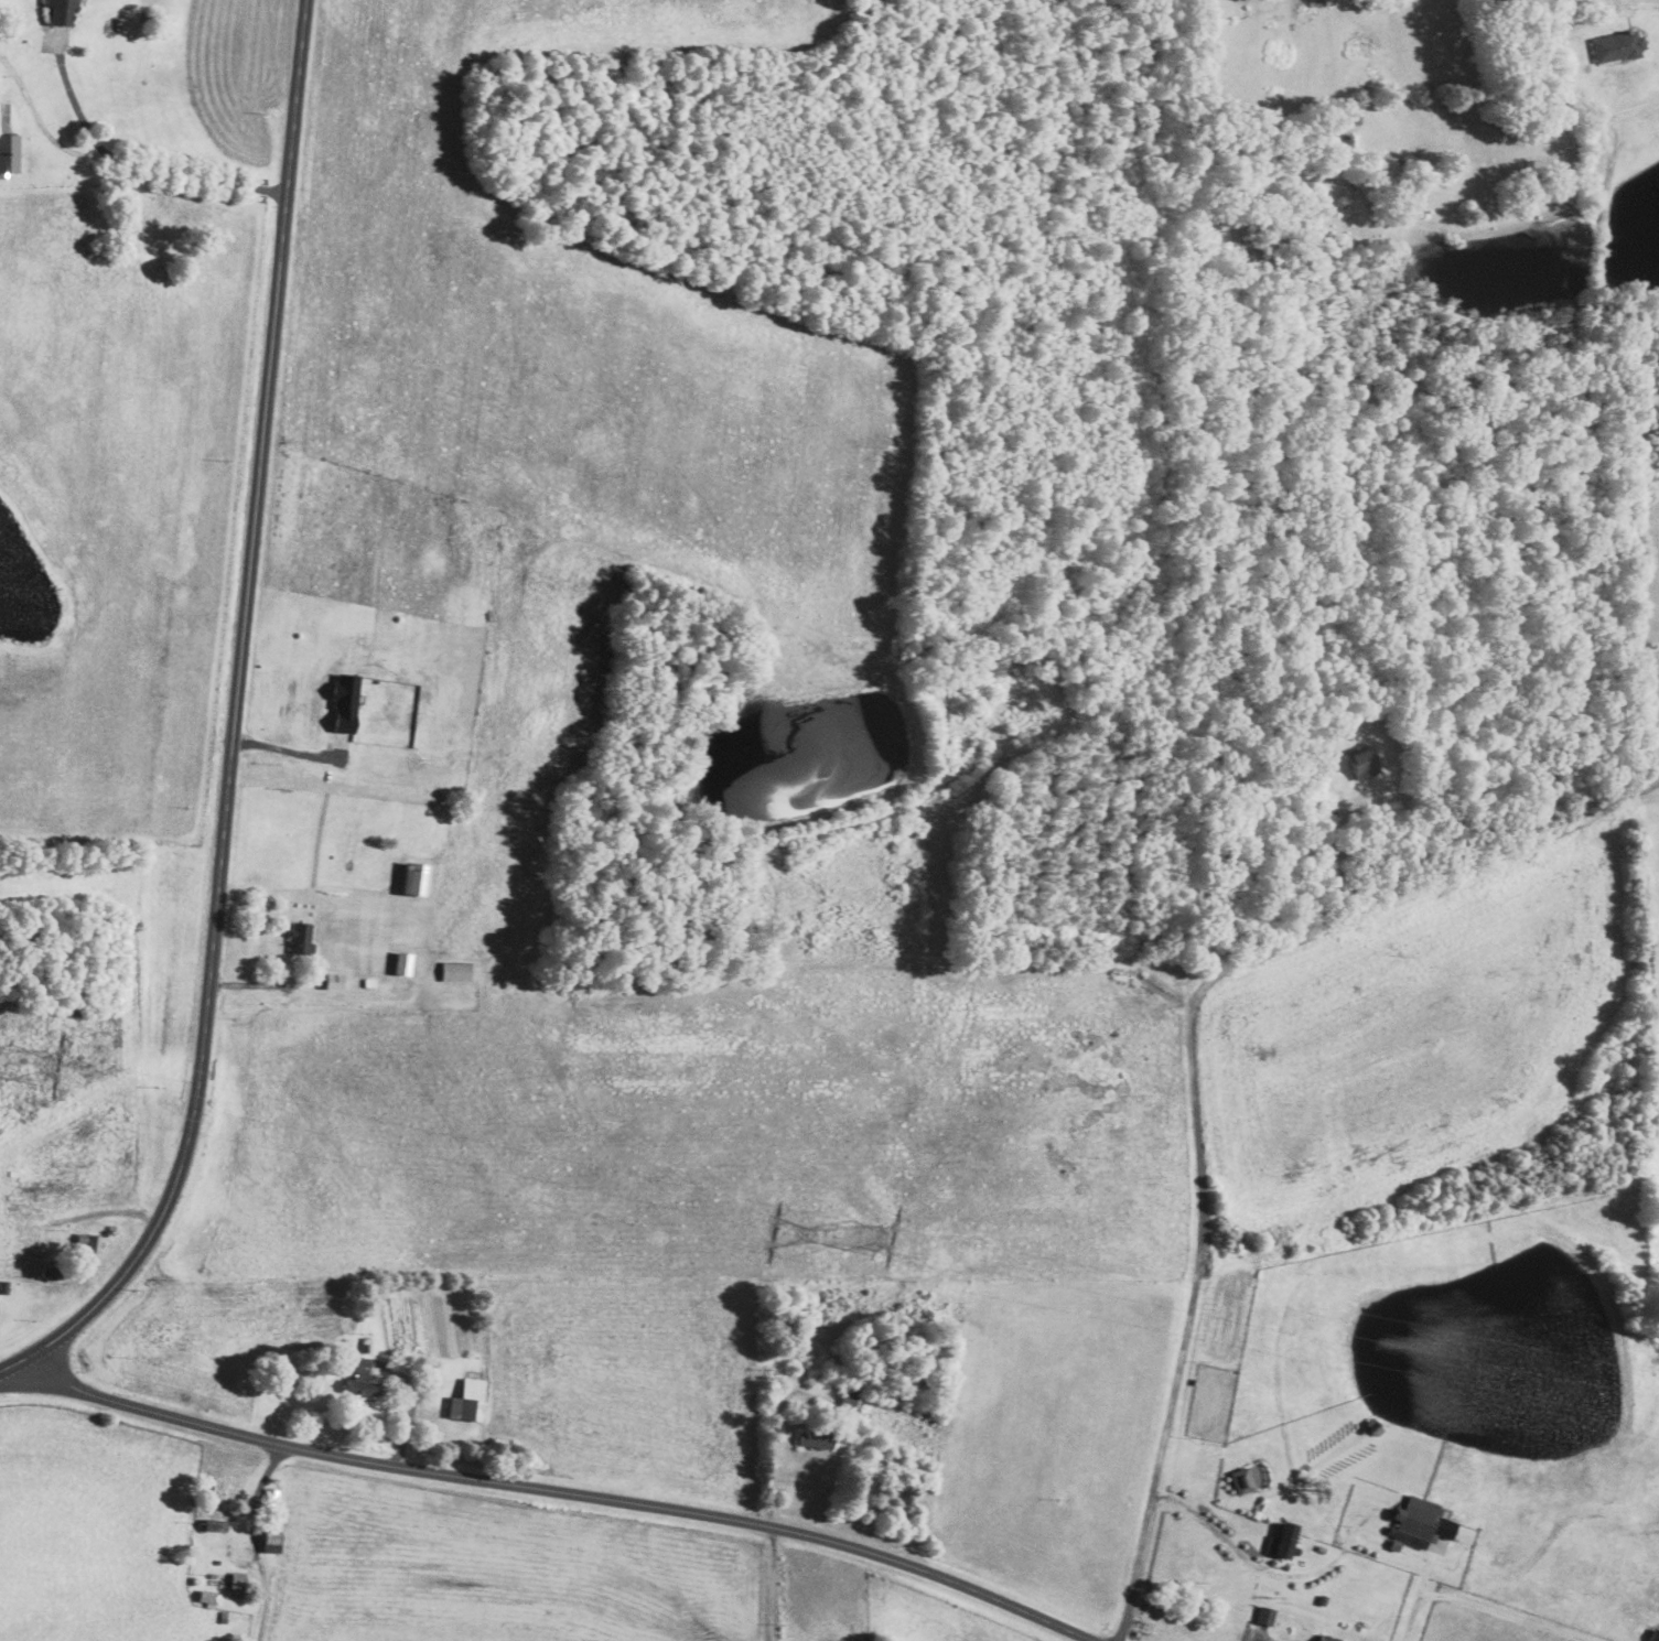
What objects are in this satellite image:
building: (63, 11)
road: (1575, 23)
building: (1618, 46)
road: (75, 100)
road: (1601, 134)
building: (10, 154)
road: (119, 159)
building: (346, 703)
road: (235, 724)
road: (288, 749)
building: (417, 877)
building: (301, 937)
building: (403, 963)
building: (456, 970)
power tower: (26, 1065)
road: (1191, 1066)
power tower: (859, 1240)
building: (362, 1377)
building: (471, 1400)
road: (777, 1456)
building: (1259, 1475)
building: (1242, 1480)
road: (558, 1492)
building: (1422, 1521)
road: (1213, 1526)
road: (257, 1540)
building: (1284, 1541)
road: (777, 1584)
building: (237, 1588)
building: (209, 1597)
road: (1415, 1604)
building: (1265, 1616)
building: (1655, 1635)
building: (1326, 1638)

